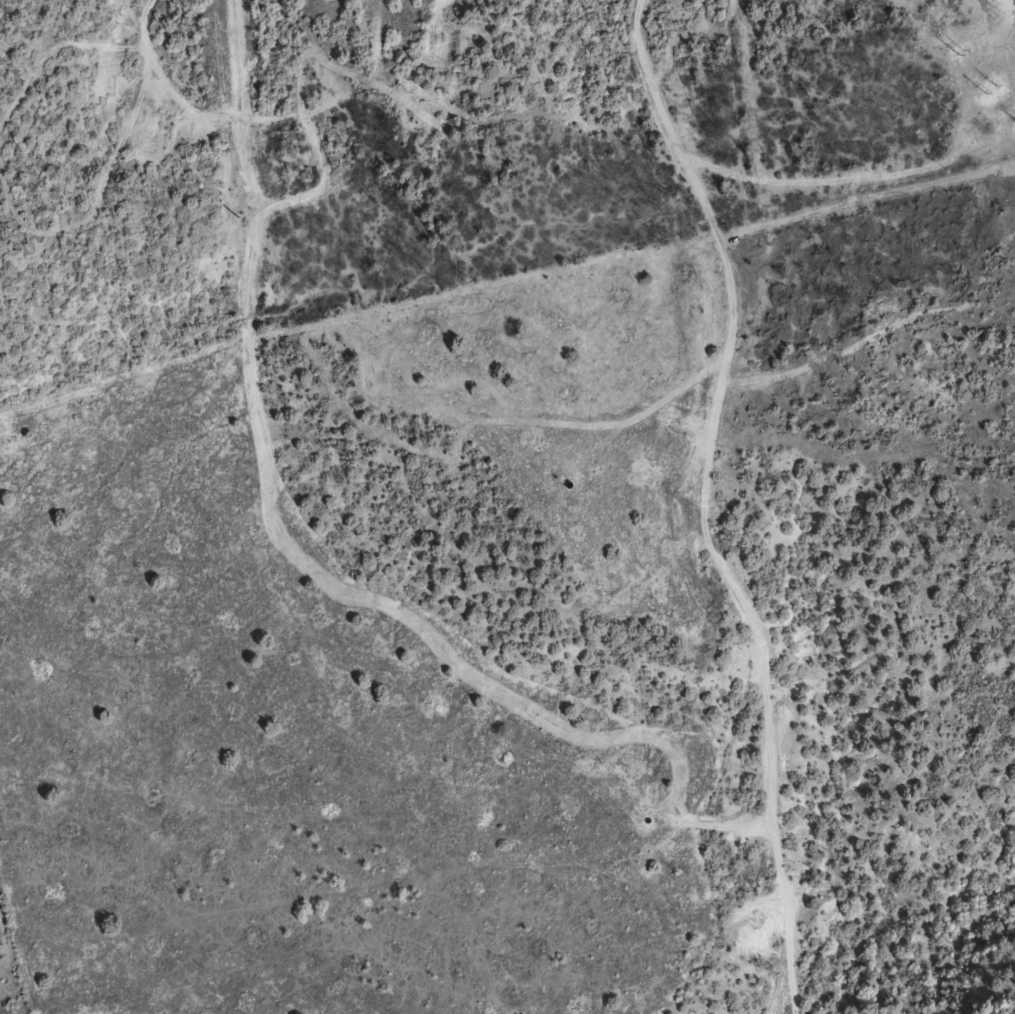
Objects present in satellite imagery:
road: (739, 771)

